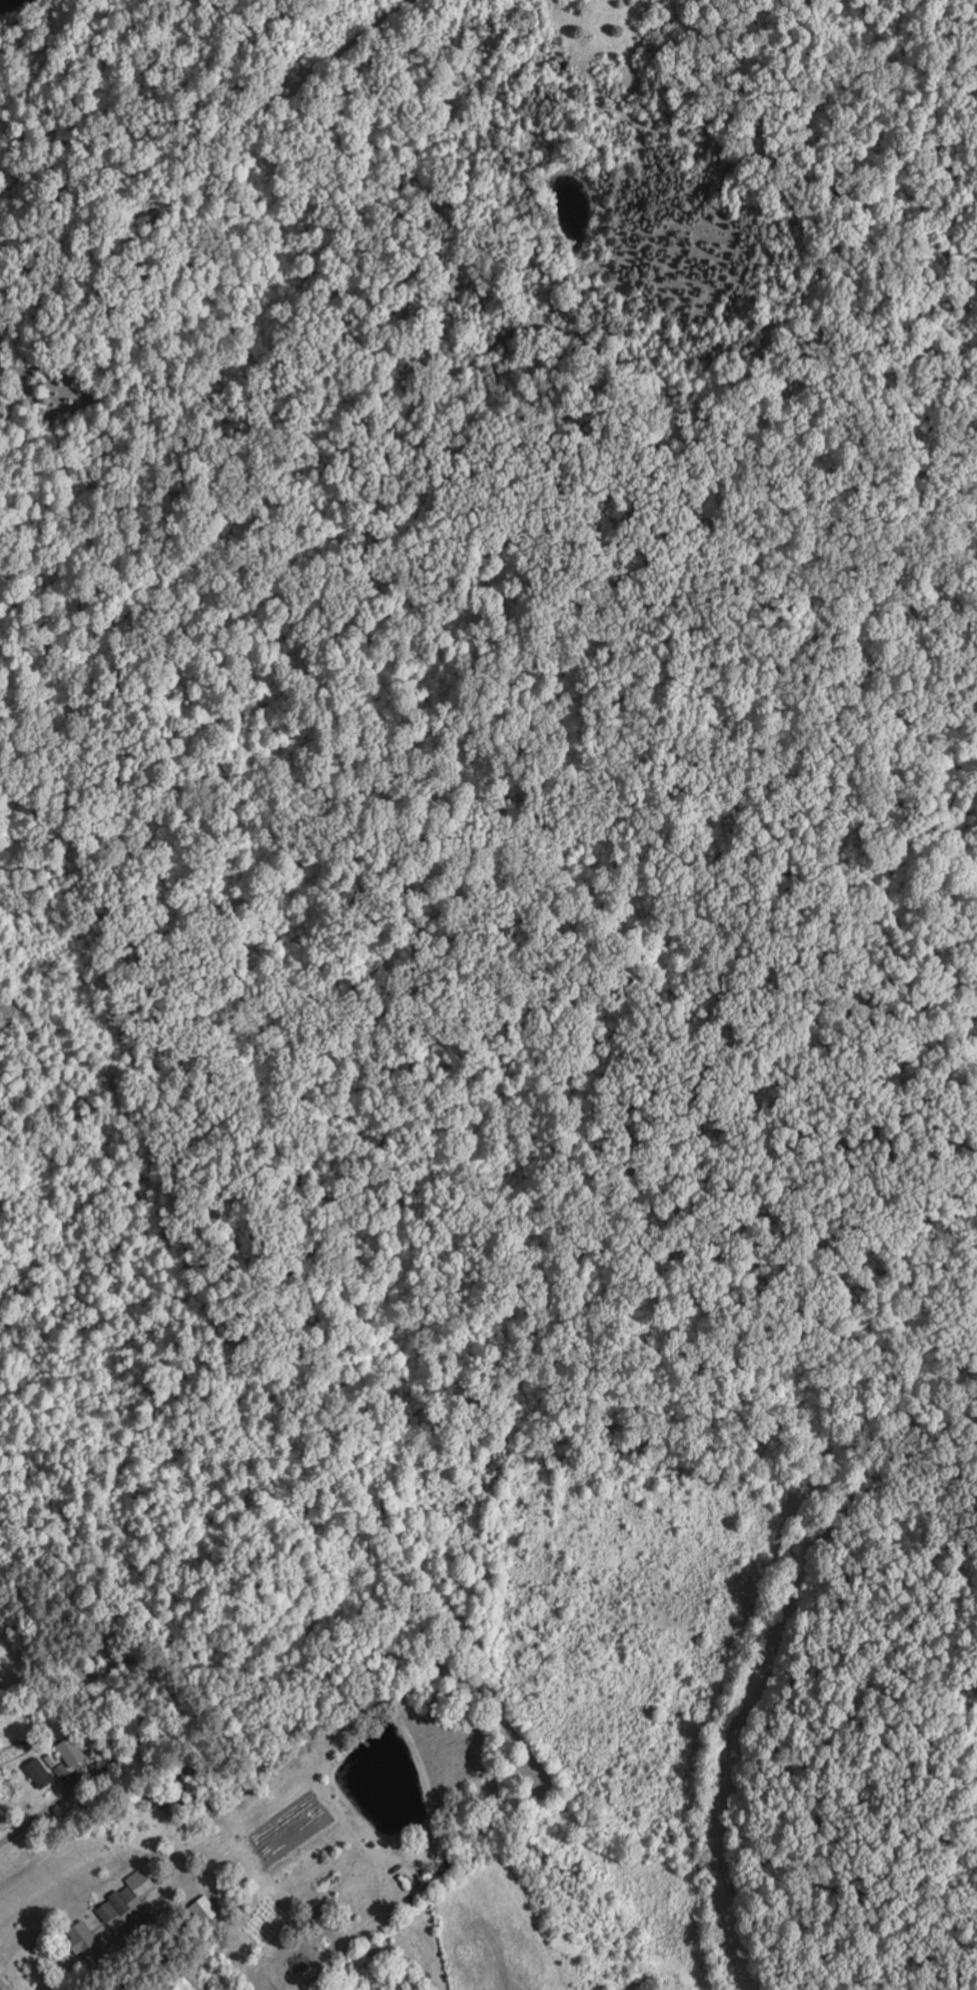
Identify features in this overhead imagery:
building: (71, 1751)
building: (52, 1761)
building: (62, 1771)
building: (40, 1773)
building: (126, 1901)
building: (87, 1942)

